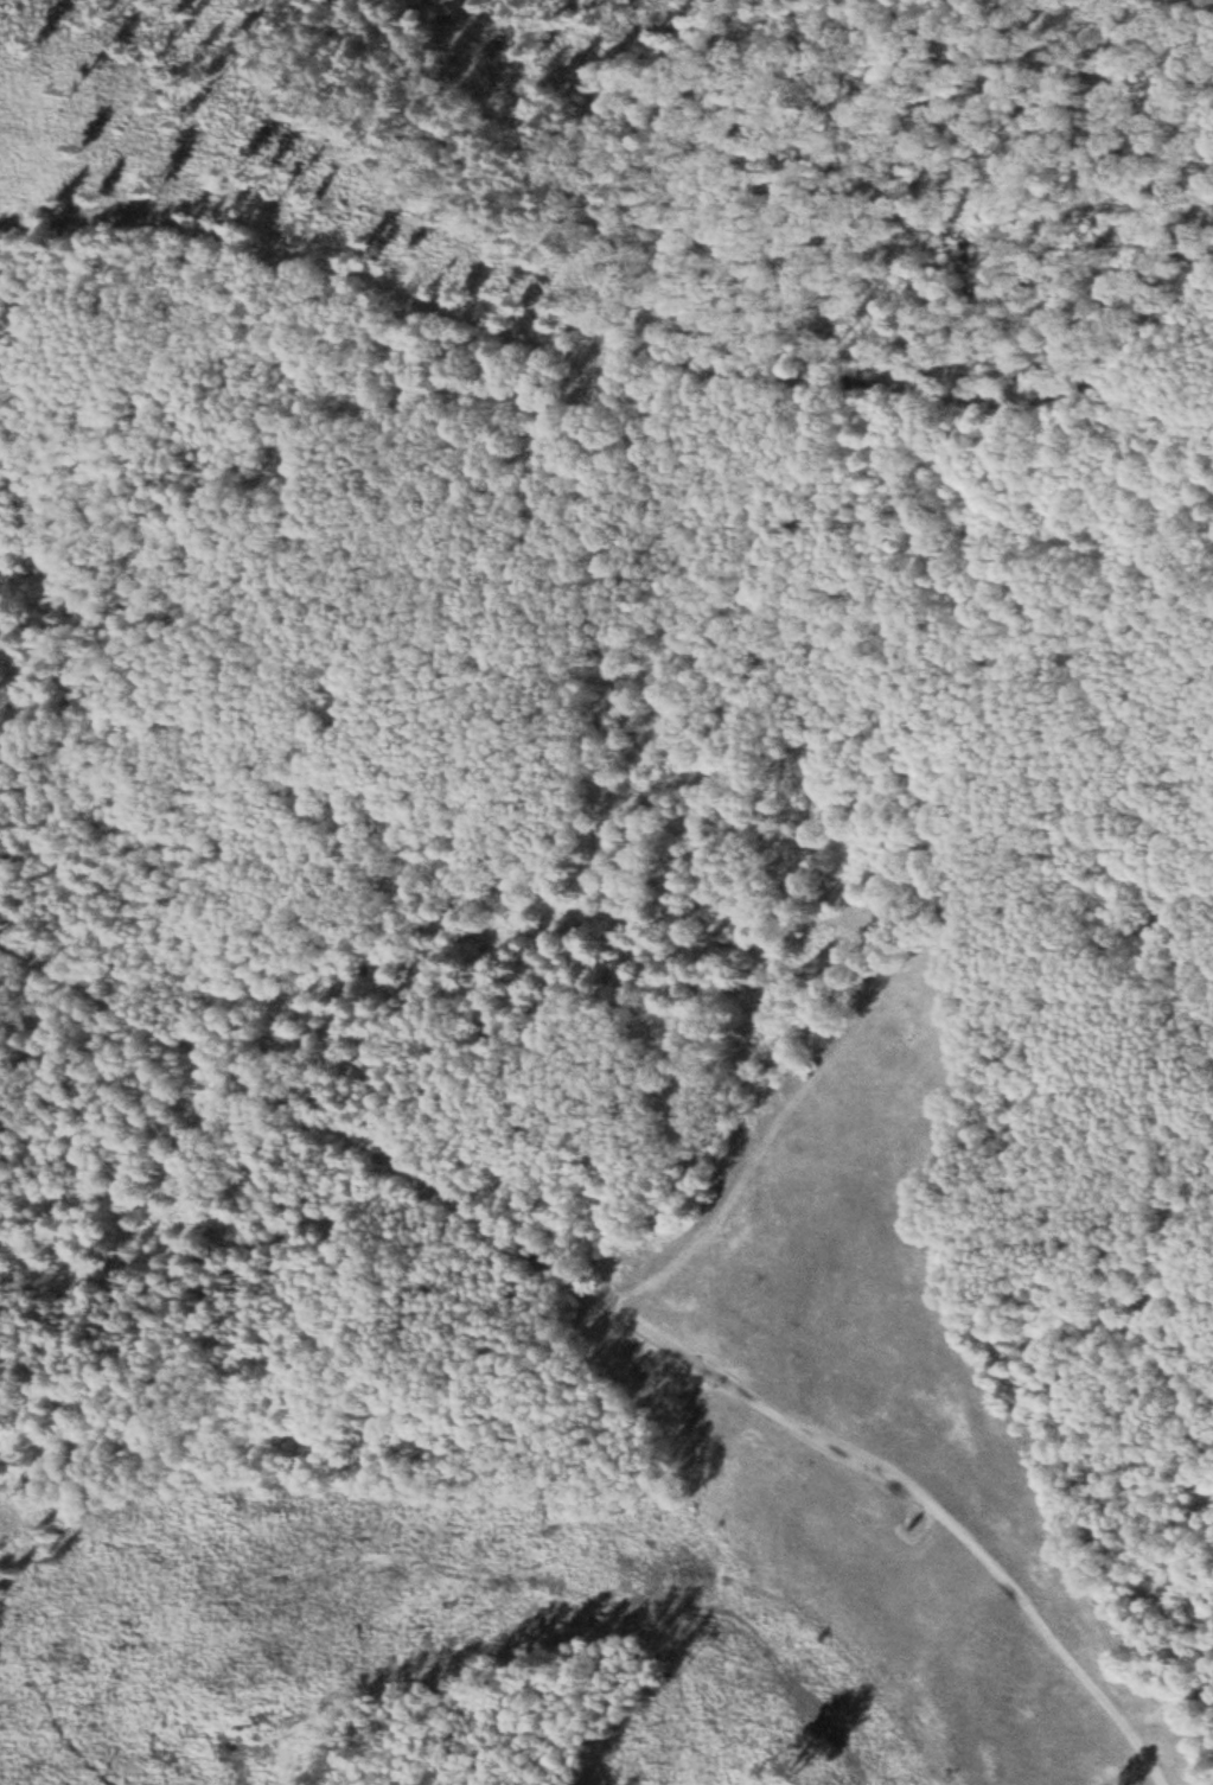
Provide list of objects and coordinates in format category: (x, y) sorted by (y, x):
road: (119, 228)
road: (760, 243)
road: (605, 348)
road: (620, 1319)

